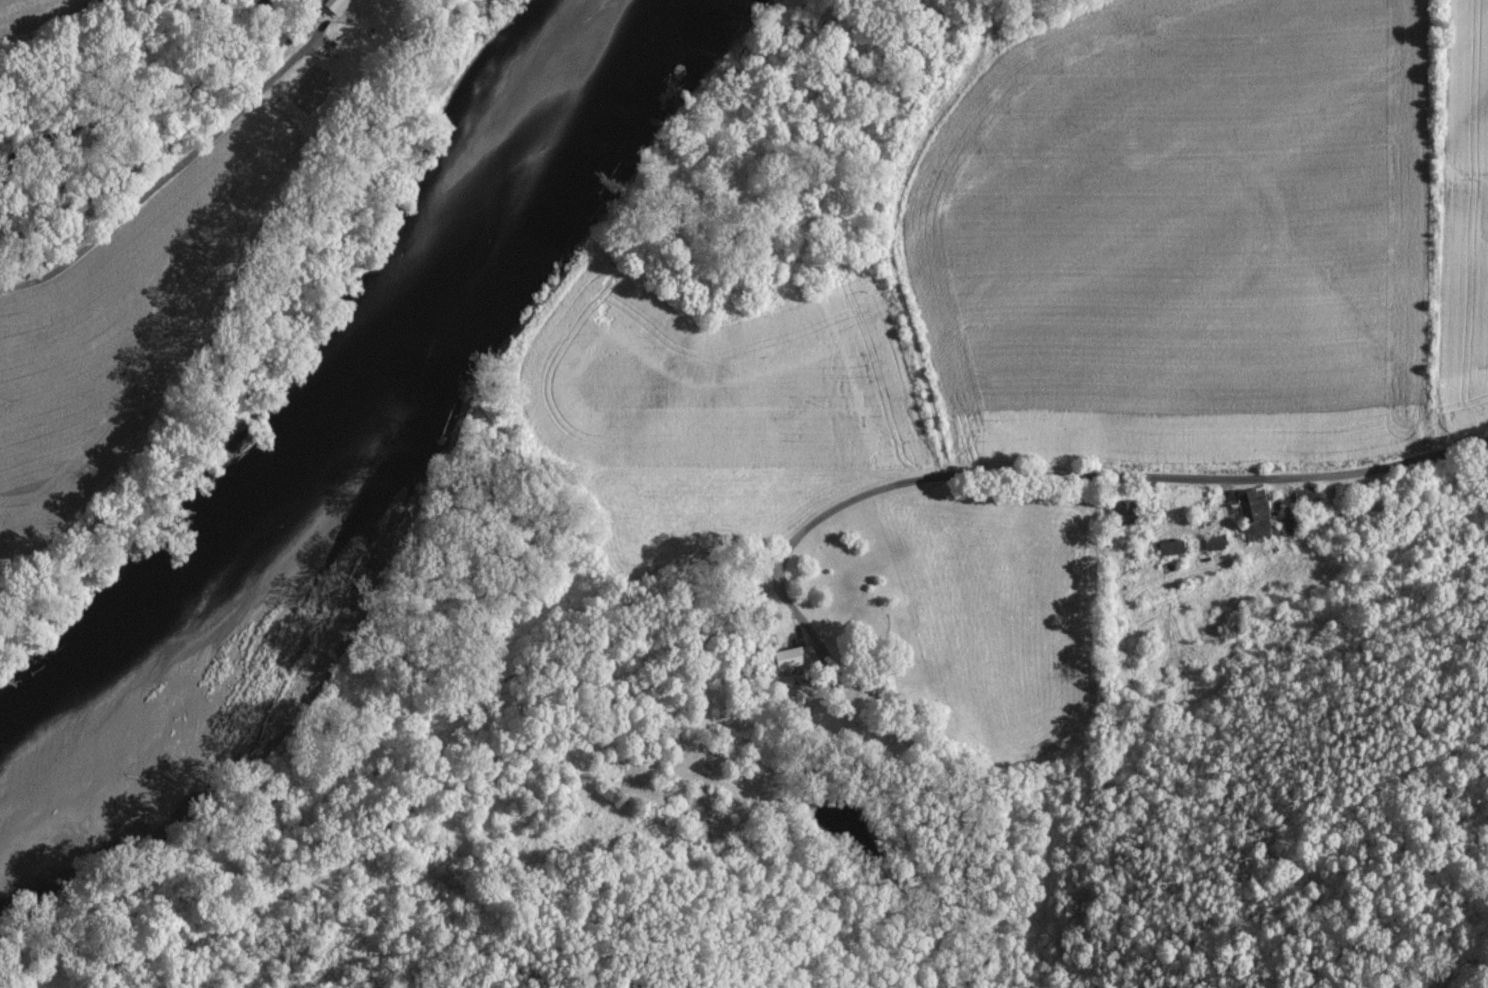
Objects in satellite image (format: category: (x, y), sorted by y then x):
building: (333, 6)
road: (169, 141)
road: (166, 177)
river: (342, 412)
road: (1114, 477)
building: (1251, 515)
building: (1213, 544)
building: (1169, 547)
building: (789, 657)

